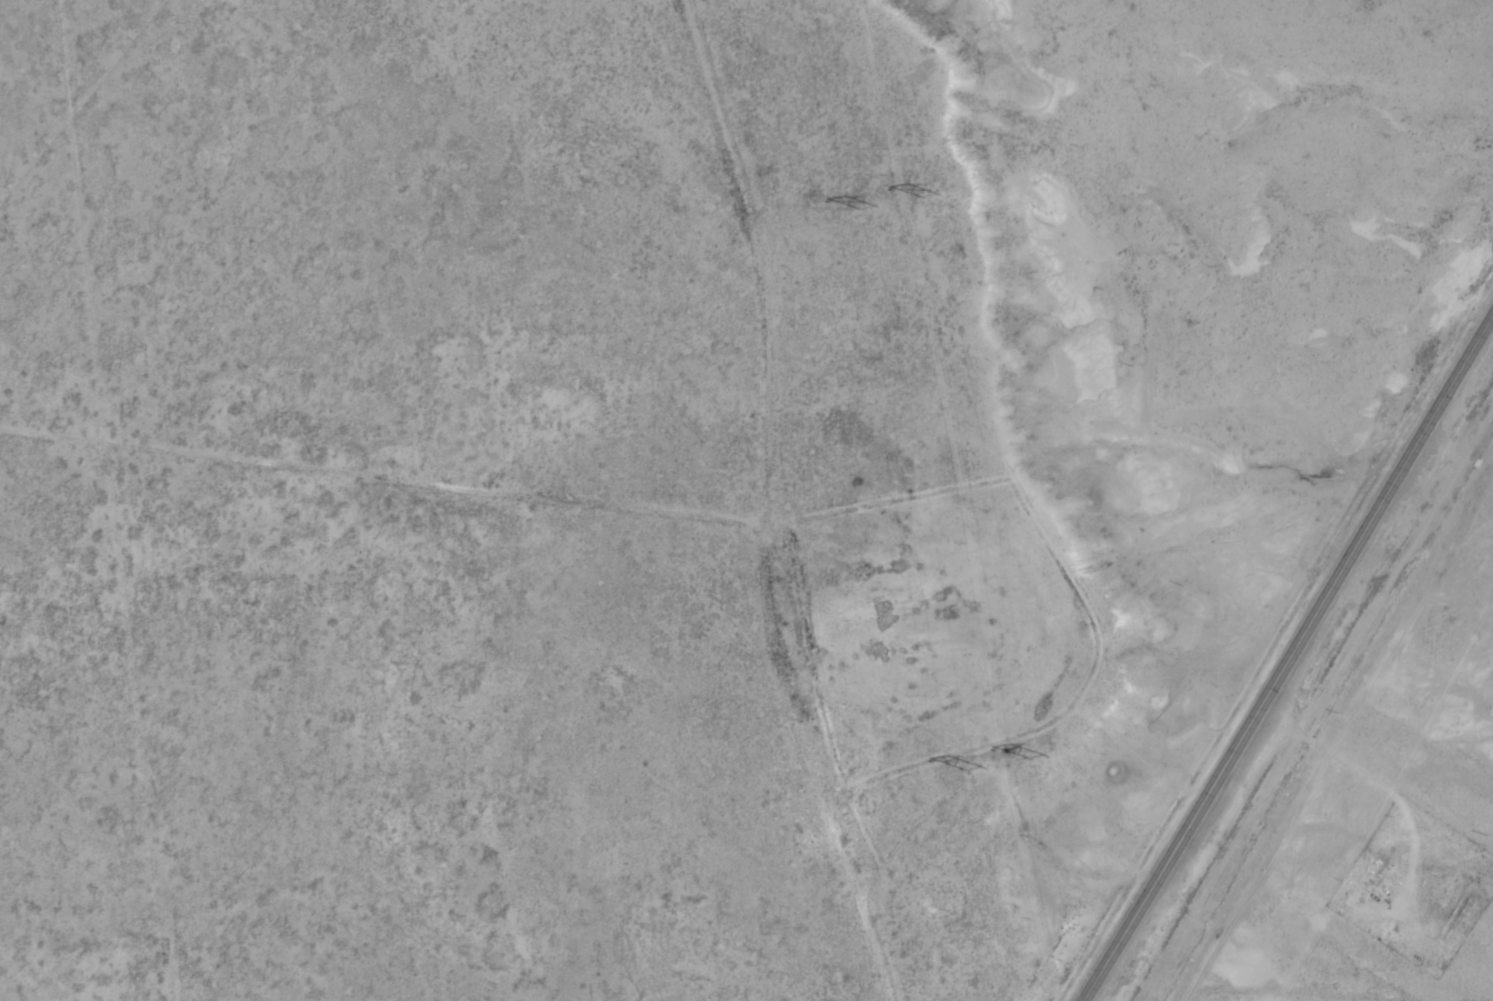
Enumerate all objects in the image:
power tower: (931, 195)
power tower: (867, 207)
road: (1289, 654)
power tower: (1038, 756)
power tower: (974, 770)
building: (1366, 880)

